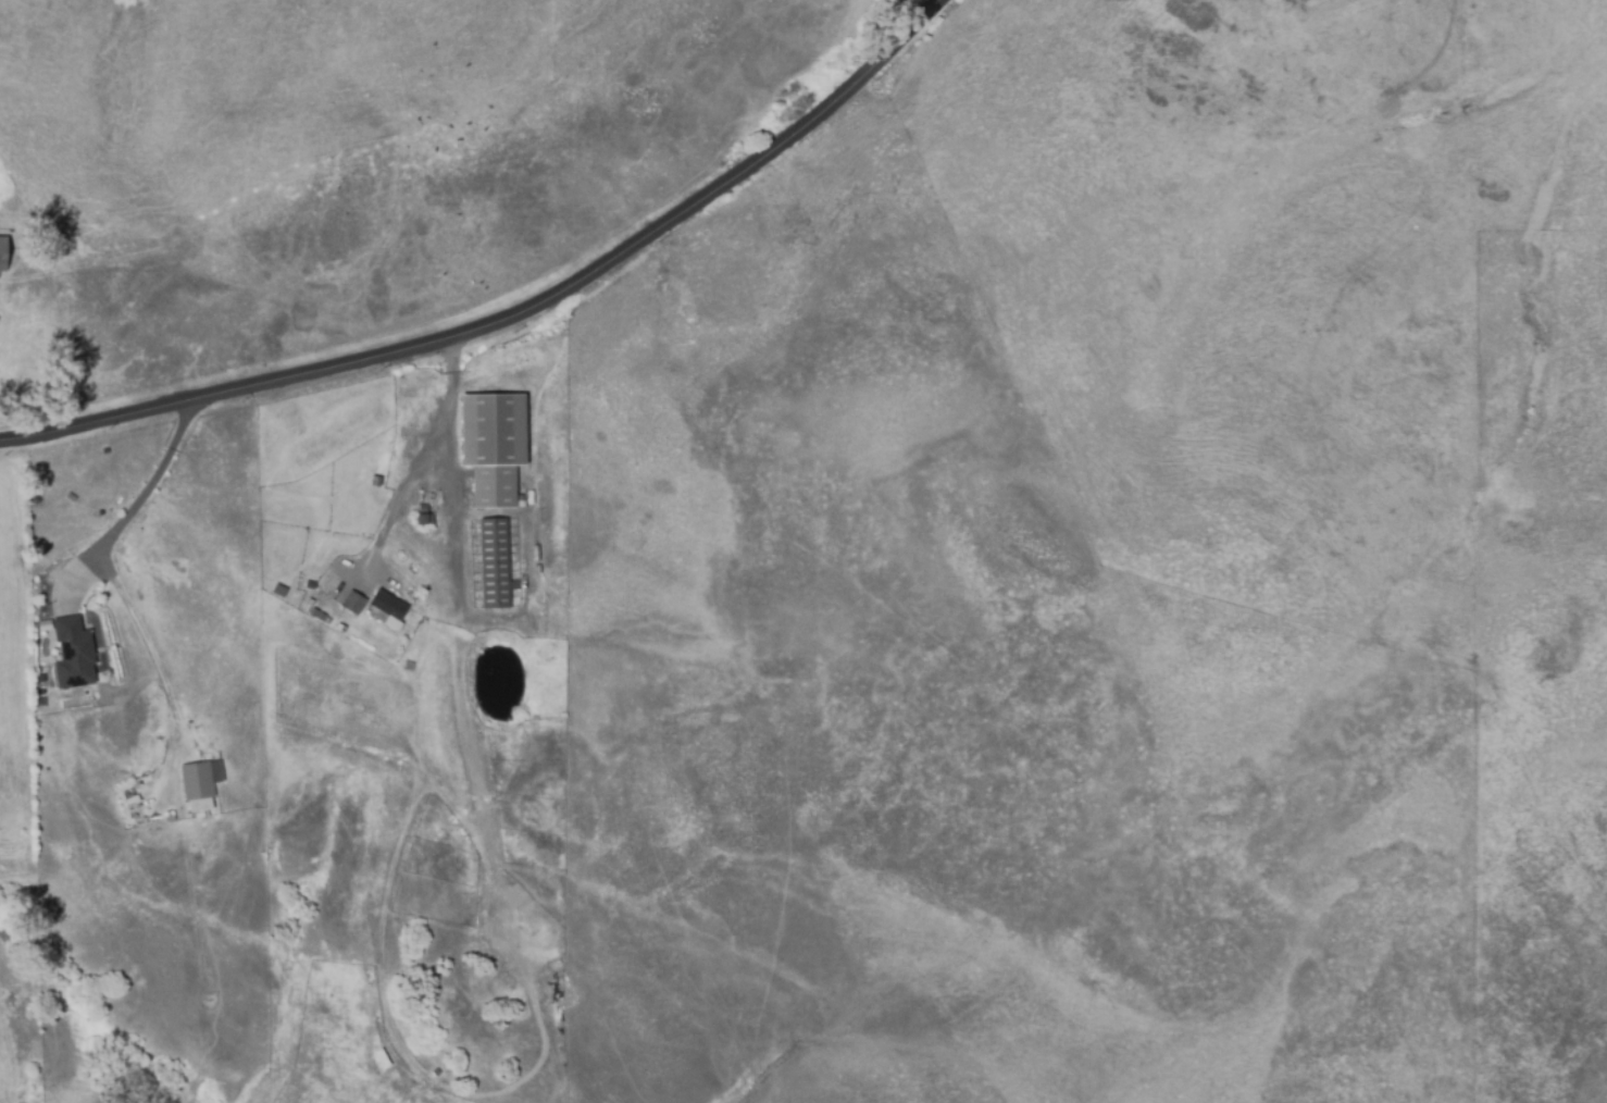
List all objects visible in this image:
building: (4, 249)
road: (515, 315)
building: (494, 446)
road: (420, 457)
building: (443, 509)
road: (133, 511)
building: (424, 515)
building: (496, 561)
building: (354, 600)
building: (388, 604)
building: (73, 648)
road: (146, 648)
building: (200, 779)
building: (130, 801)
building: (381, 1059)

